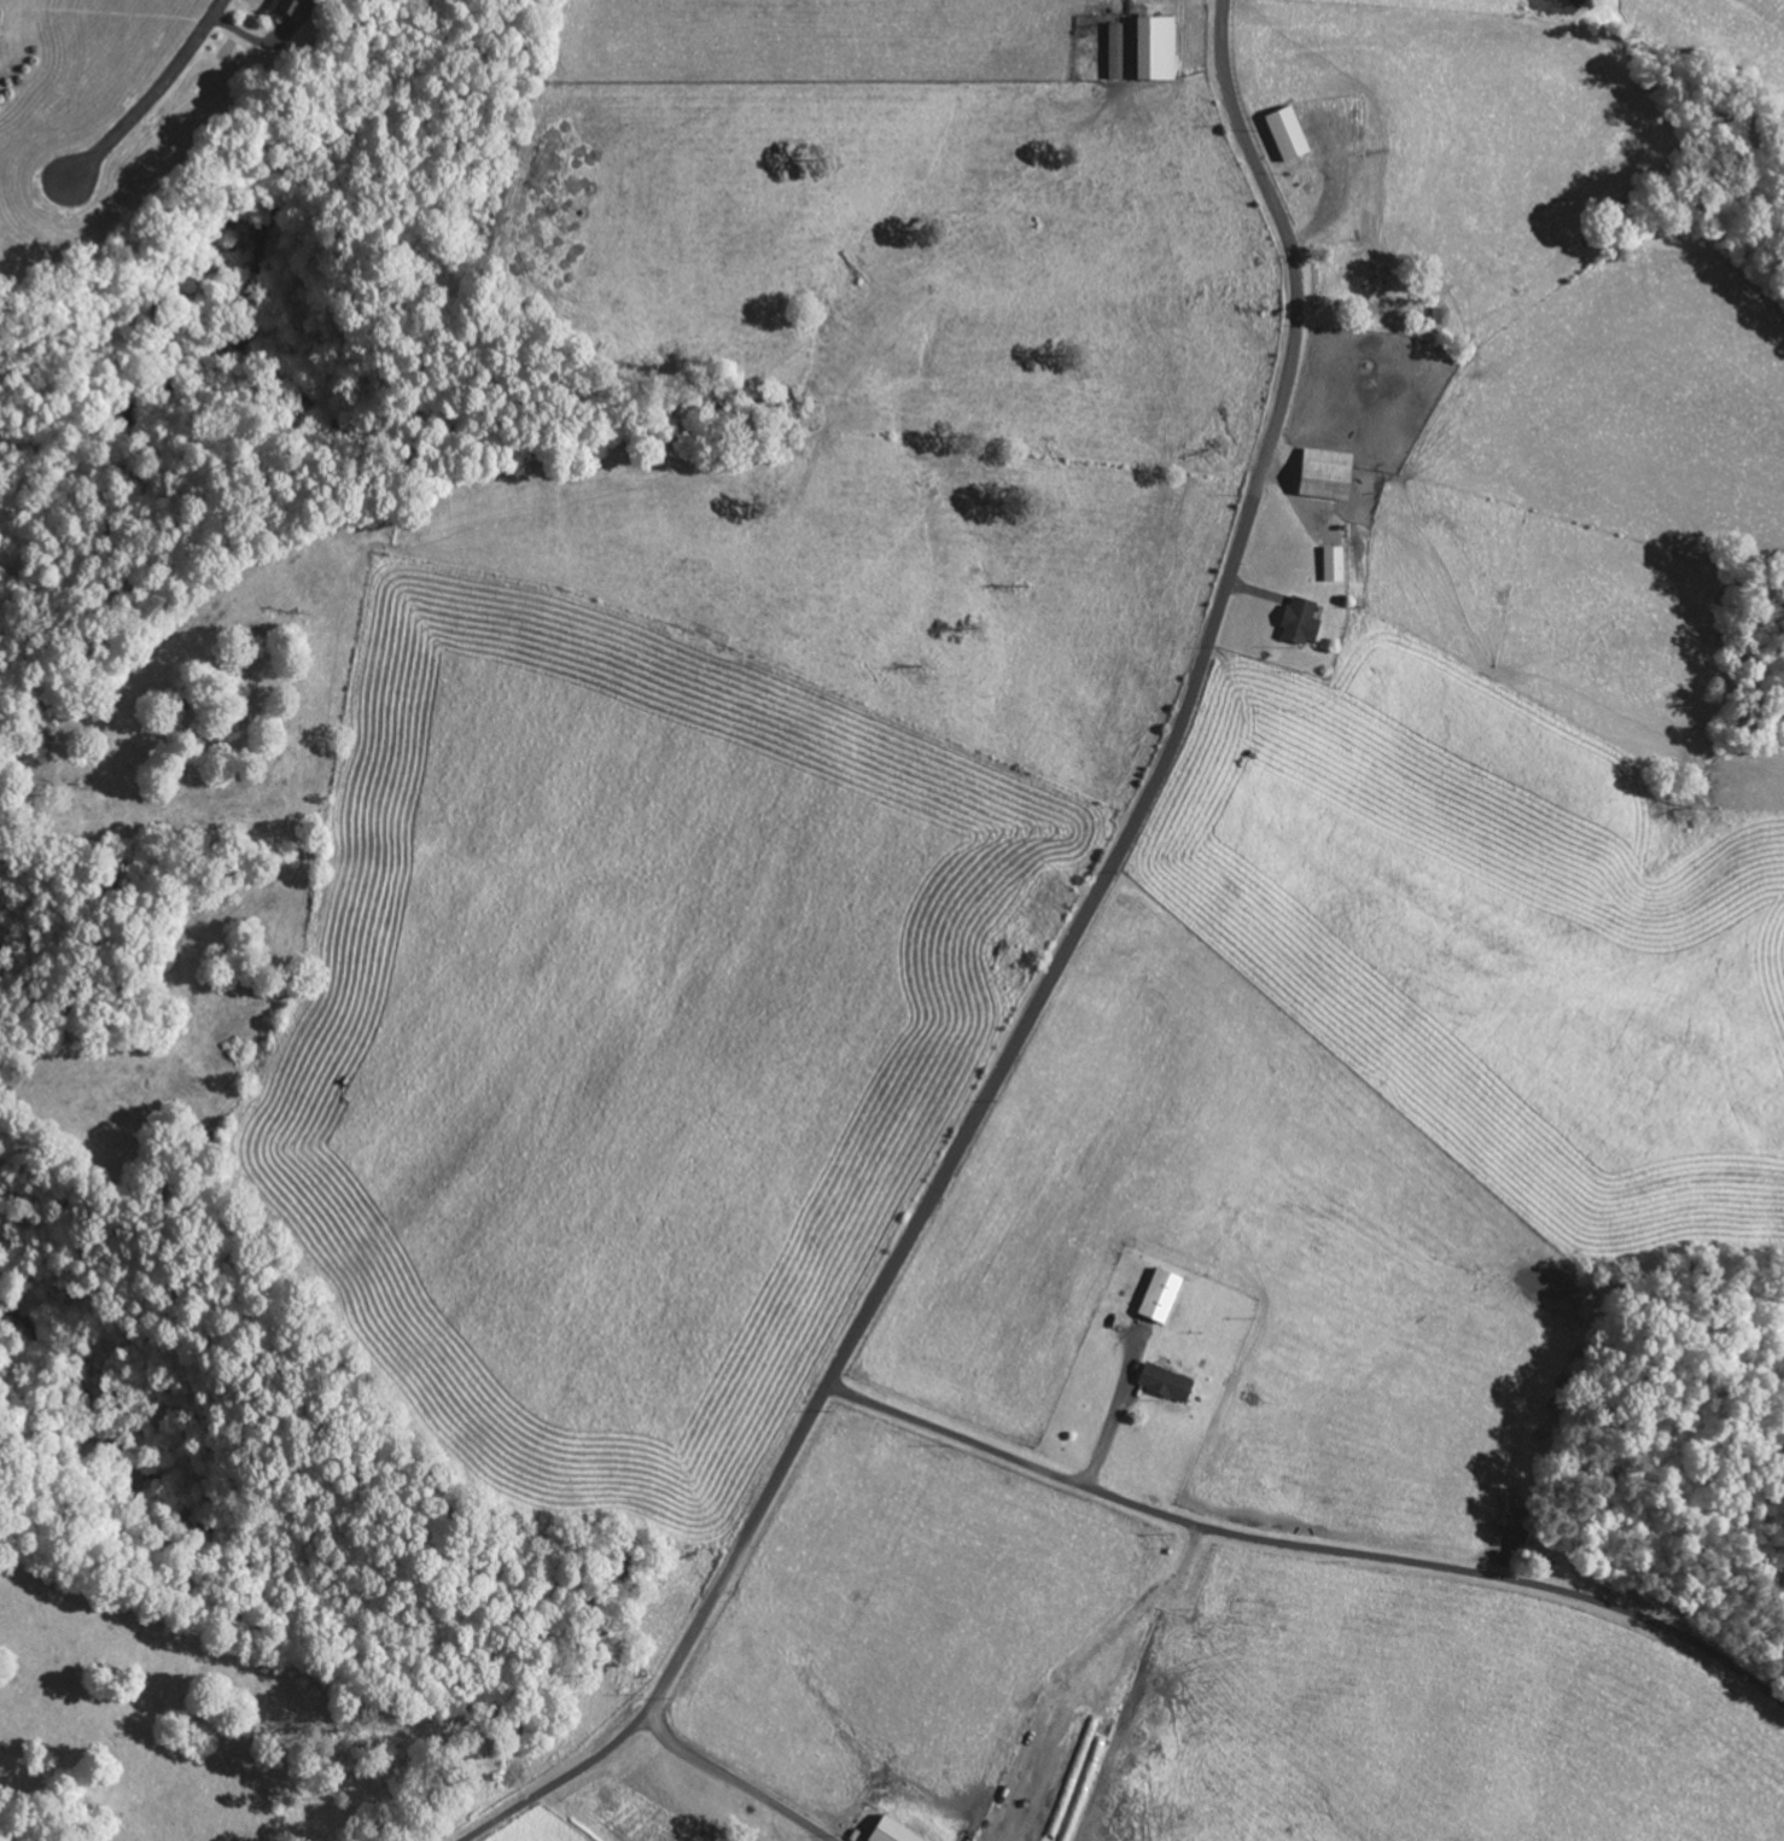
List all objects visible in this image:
building: (286, 11)
building: (1153, 48)
road: (156, 95)
building: (1322, 474)
building: (1296, 622)
road: (1047, 989)
building: (1158, 1295)
building: (1162, 1381)
road: (1308, 1546)
road: (567, 1816)
building: (887, 1831)

